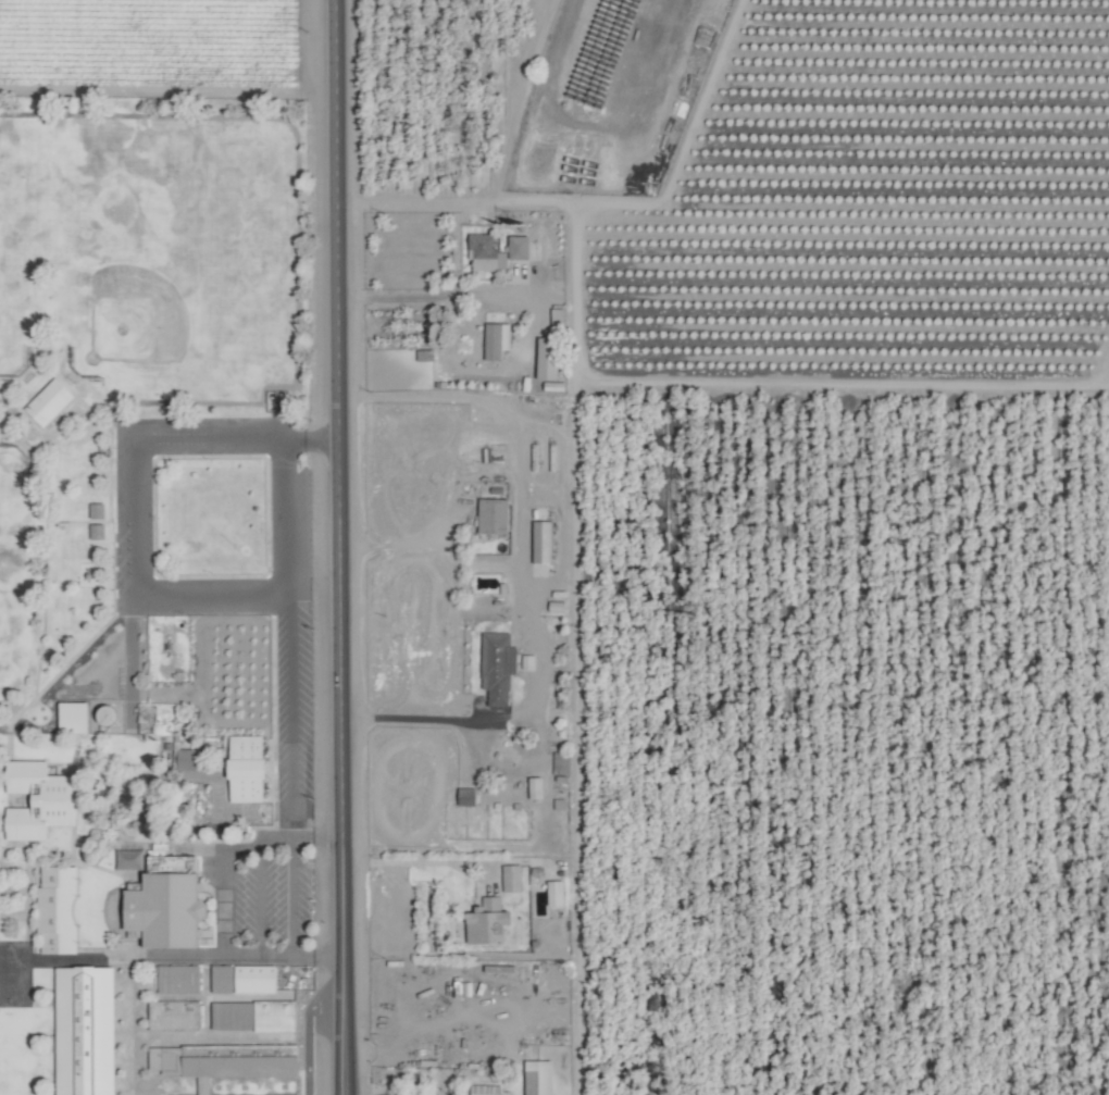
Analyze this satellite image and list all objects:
road: (483, 200)
building: (520, 247)
building: (485, 253)
road: (425, 296)
building: (493, 341)
building: (548, 358)
building: (48, 402)
building: (97, 511)
building: (493, 515)
road: (132, 517)
road: (441, 521)
building: (541, 542)
road: (338, 547)
crop: (554, 547)
road: (522, 571)
building: (553, 607)
building: (497, 665)
road: (286, 695)
building: (186, 758)
building: (560, 762)
building: (246, 768)
building: (534, 786)
building: (466, 795)
building: (38, 799)
road: (315, 836)
road: (424, 861)
building: (511, 876)
building: (554, 893)
road: (223, 899)
building: (57, 908)
building: (166, 908)
building: (484, 926)
building: (178, 978)
building: (242, 978)
building: (177, 1013)
building: (253, 1015)
building: (82, 1023)
building: (202, 1065)
building: (538, 1077)
building: (486, 1090)
building: (277, 1094)

